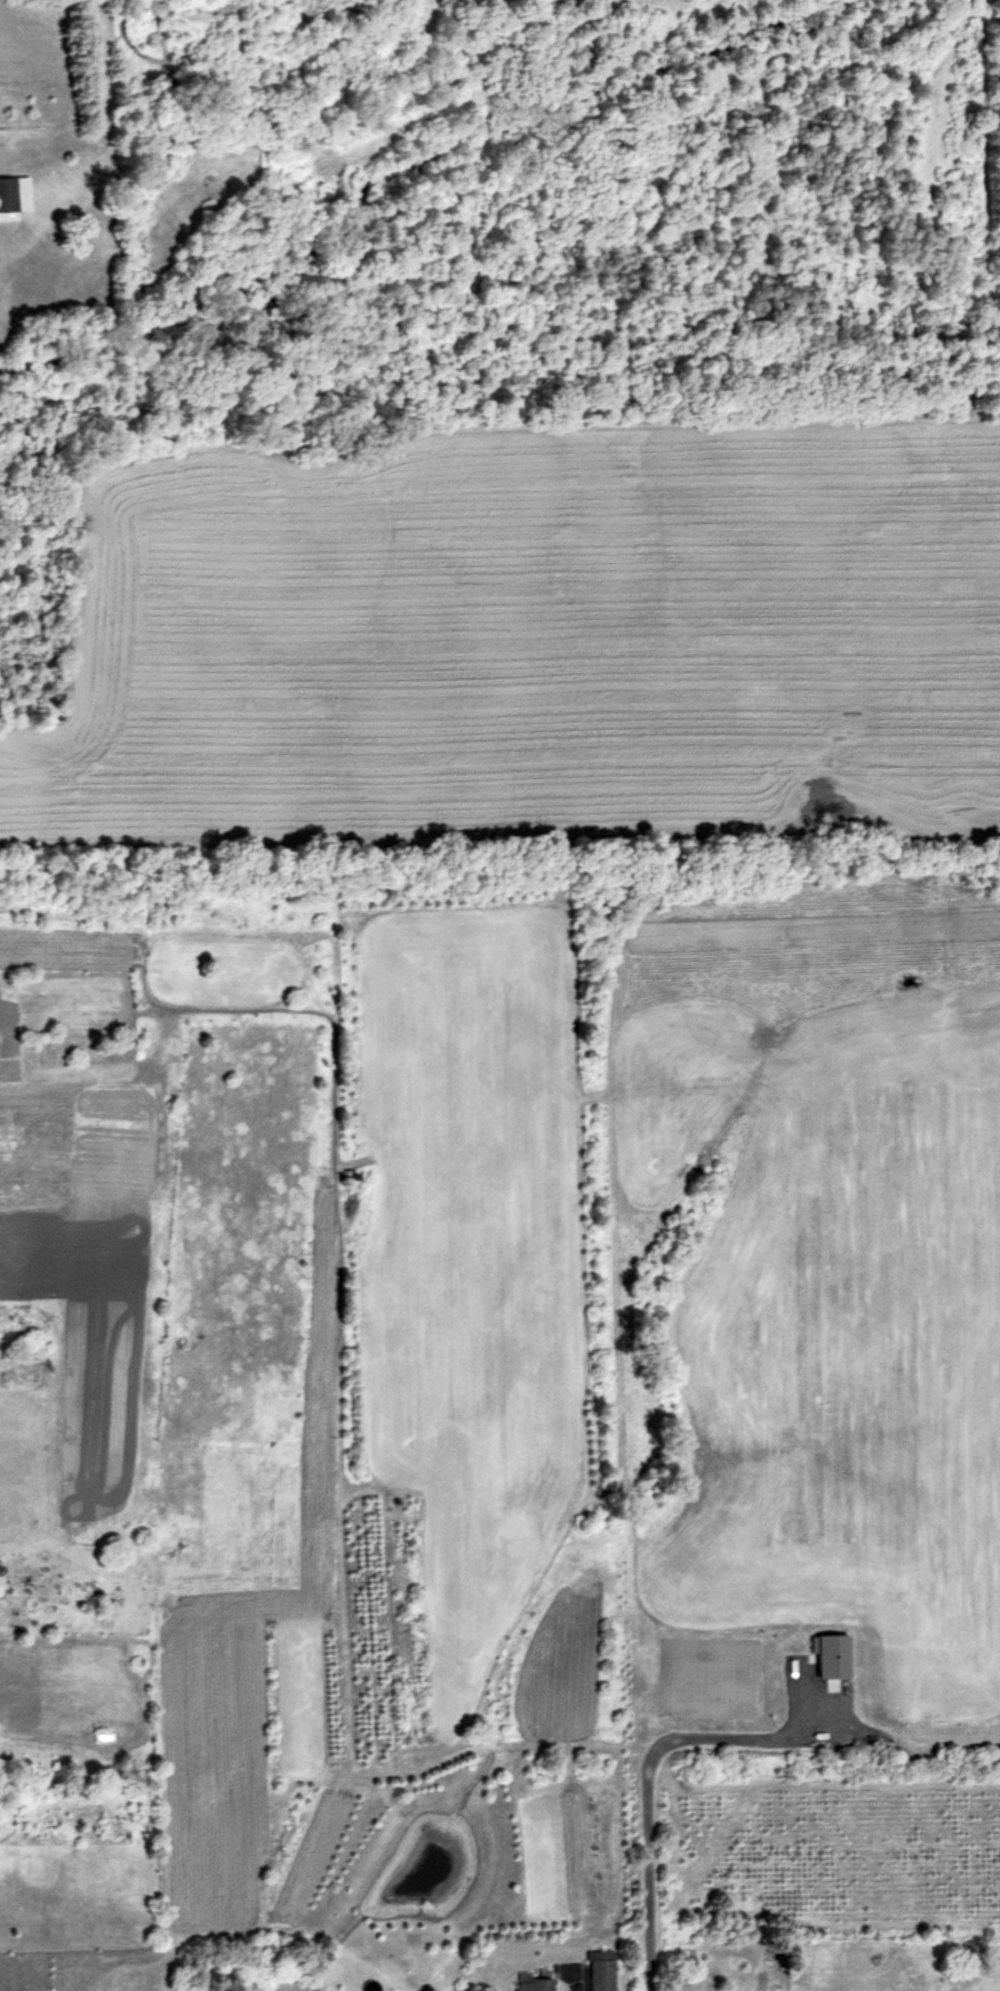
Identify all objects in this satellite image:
building: (339, 1)
building: (14, 196)
building: (829, 1655)
road: (645, 1777)
building: (600, 1970)
building: (530, 1982)
building: (210, 1989)

